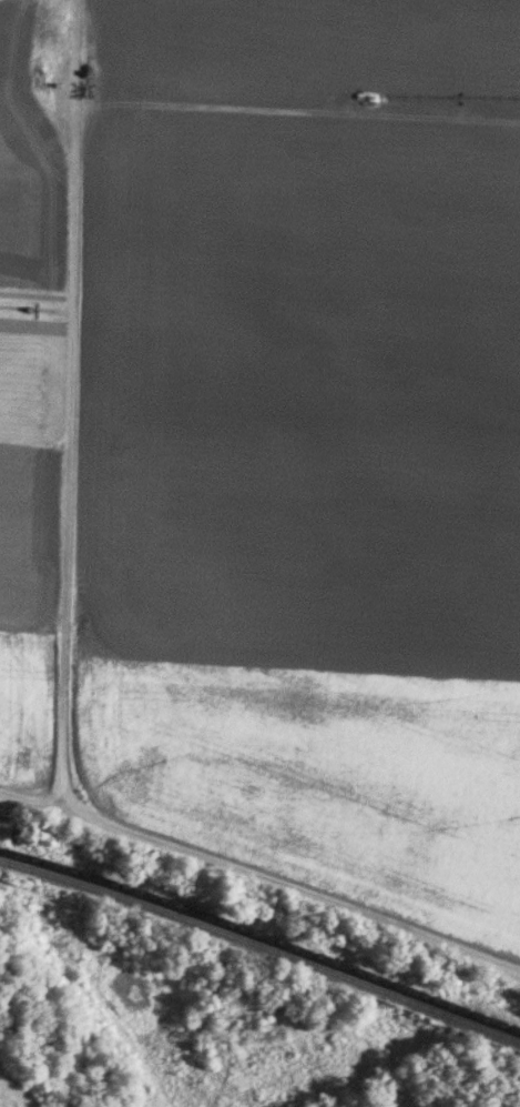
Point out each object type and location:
railway: (262, 935)
railway: (261, 946)

